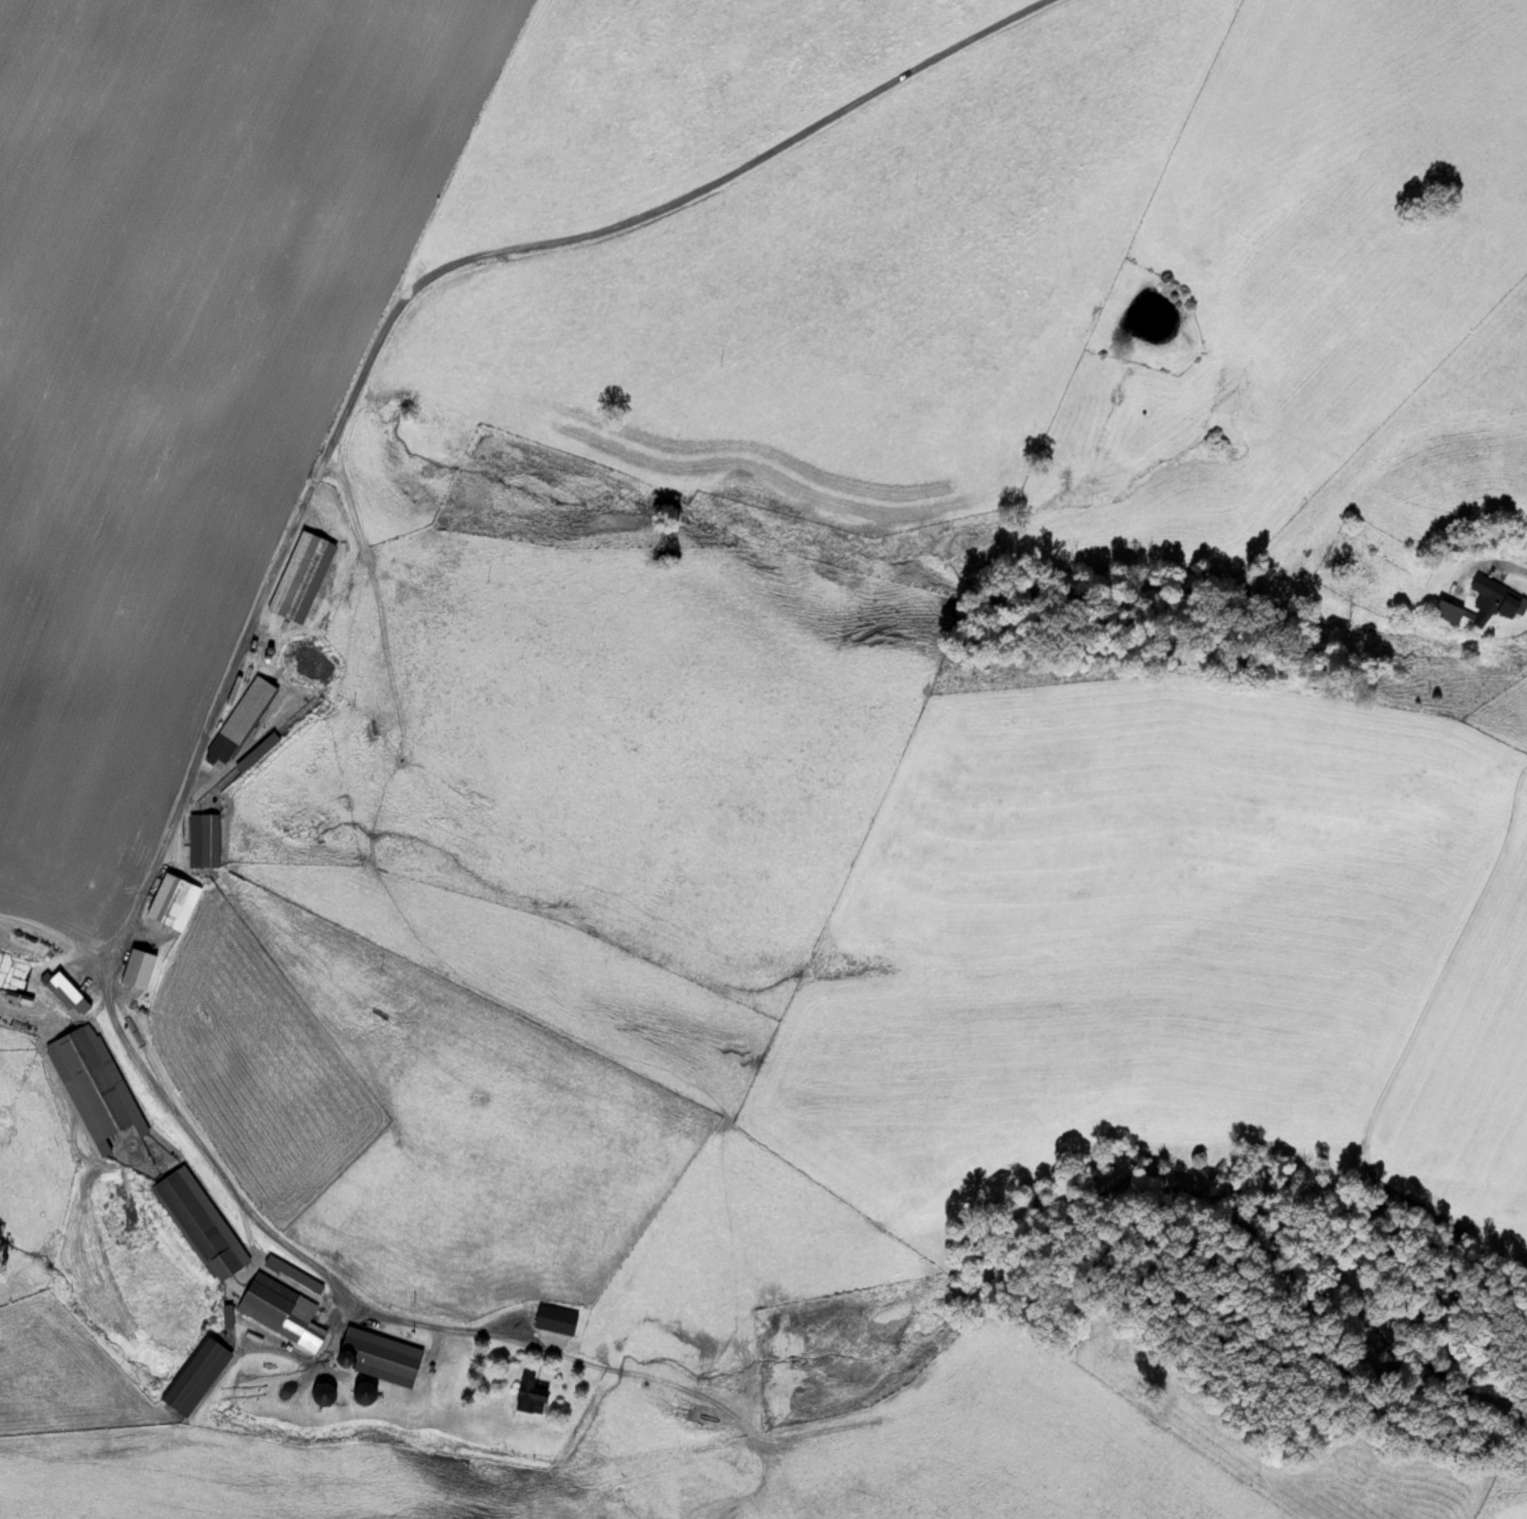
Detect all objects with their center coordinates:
road: (1481, 561)
building: (300, 579)
road: (287, 600)
building: (1484, 606)
building: (239, 723)
building: (265, 748)
building: (202, 842)
building: (173, 903)
building: (141, 972)
building: (67, 995)
building: (93, 1086)
building: (199, 1225)
building: (293, 1276)
building: (281, 1314)
building: (555, 1320)
building: (378, 1359)
building: (196, 1378)
building: (323, 1395)
building: (364, 1395)
building: (530, 1399)

